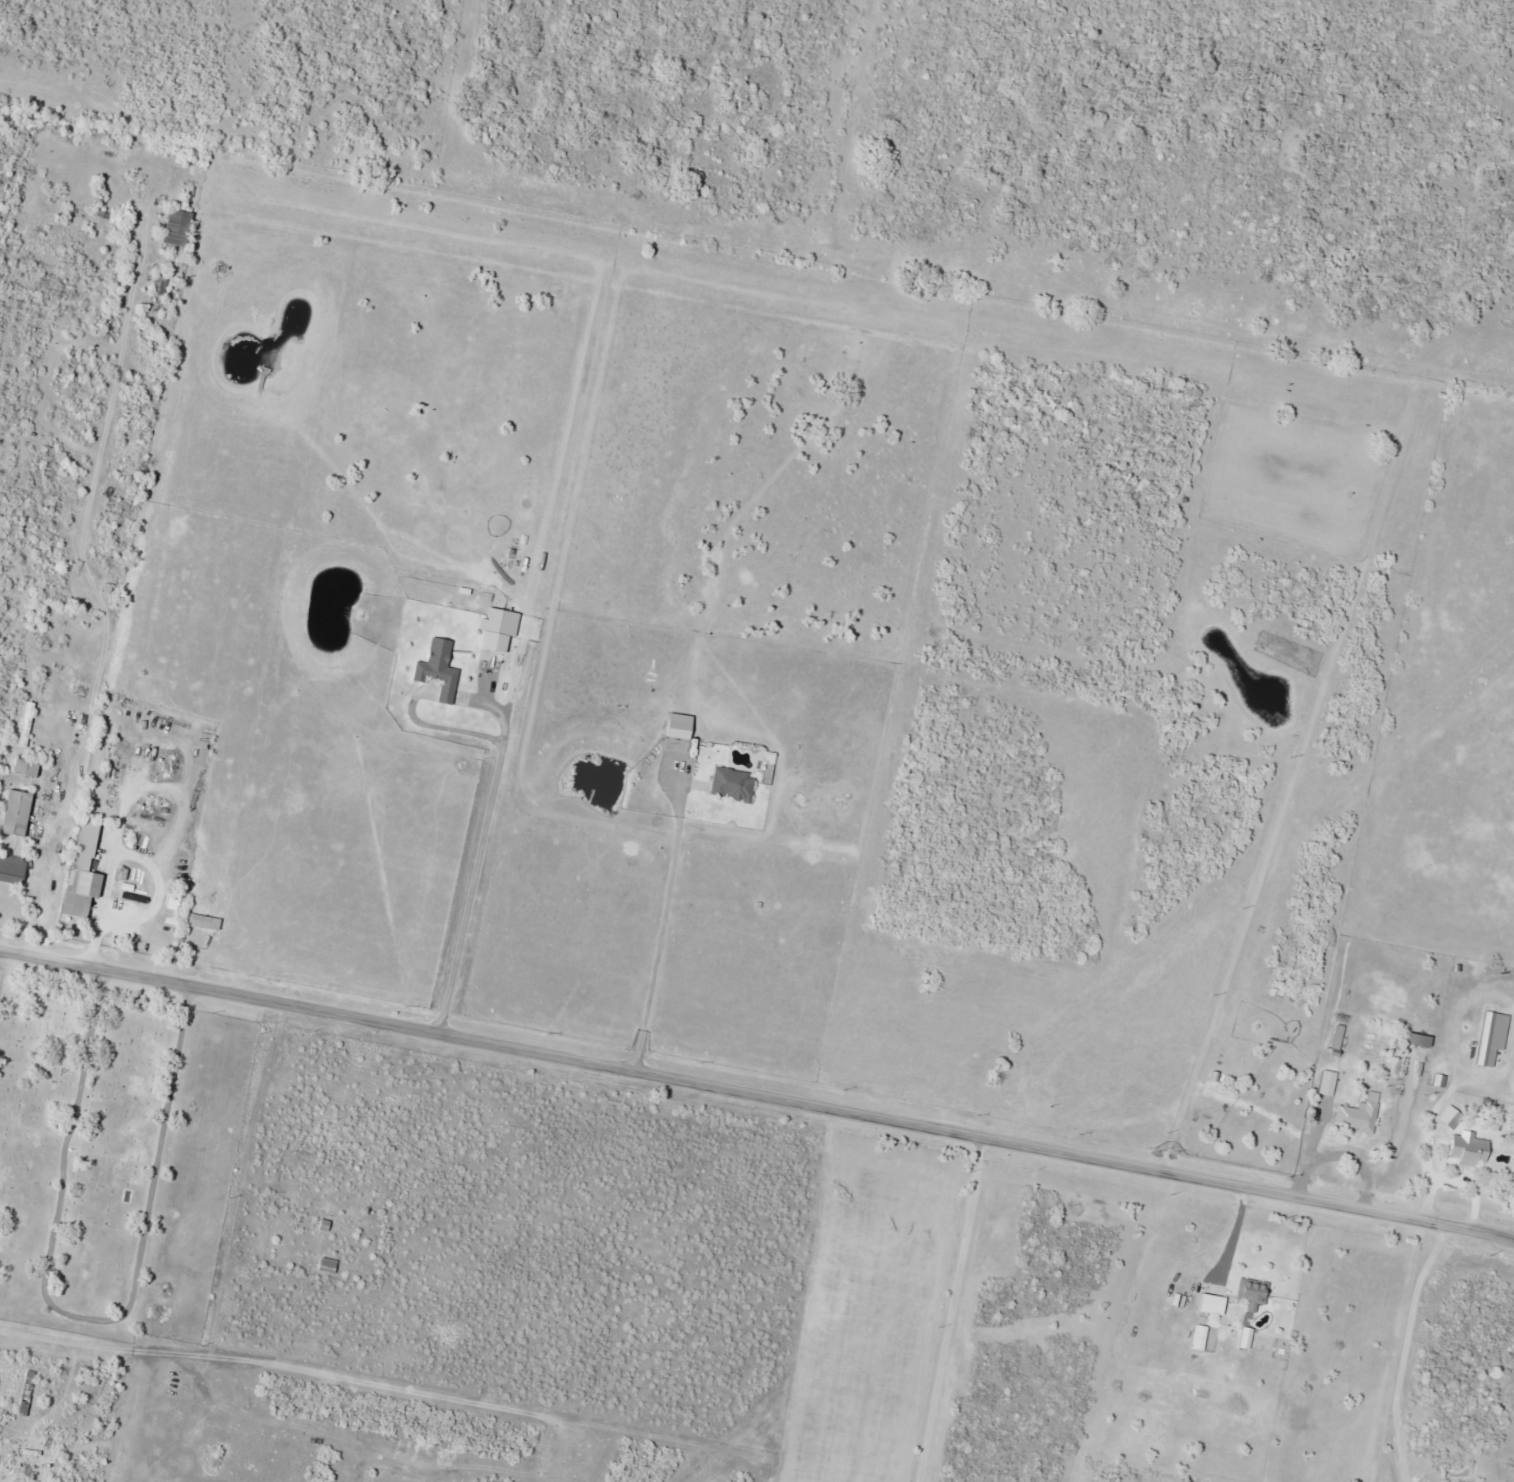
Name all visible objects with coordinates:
building: (180, 229)
building: (161, 285)
road: (128, 478)
building: (27, 768)
building: (734, 785)
building: (19, 814)
building: (13, 869)
building: (84, 872)
building: (206, 922)
road: (96, 969)
building: (1487, 1038)
building: (1339, 1041)
building: (1418, 1057)
building: (1329, 1083)
road: (853, 1112)
building: (1361, 1114)
building: (1198, 1115)
building: (1453, 1116)
building: (1471, 1150)
park: (115, 1153)
building: (322, 1224)
road: (1509, 1235)
building: (1254, 1292)
road: (84, 1316)
road: (61, 1348)
building: (26, 1393)
building: (22, 1468)

